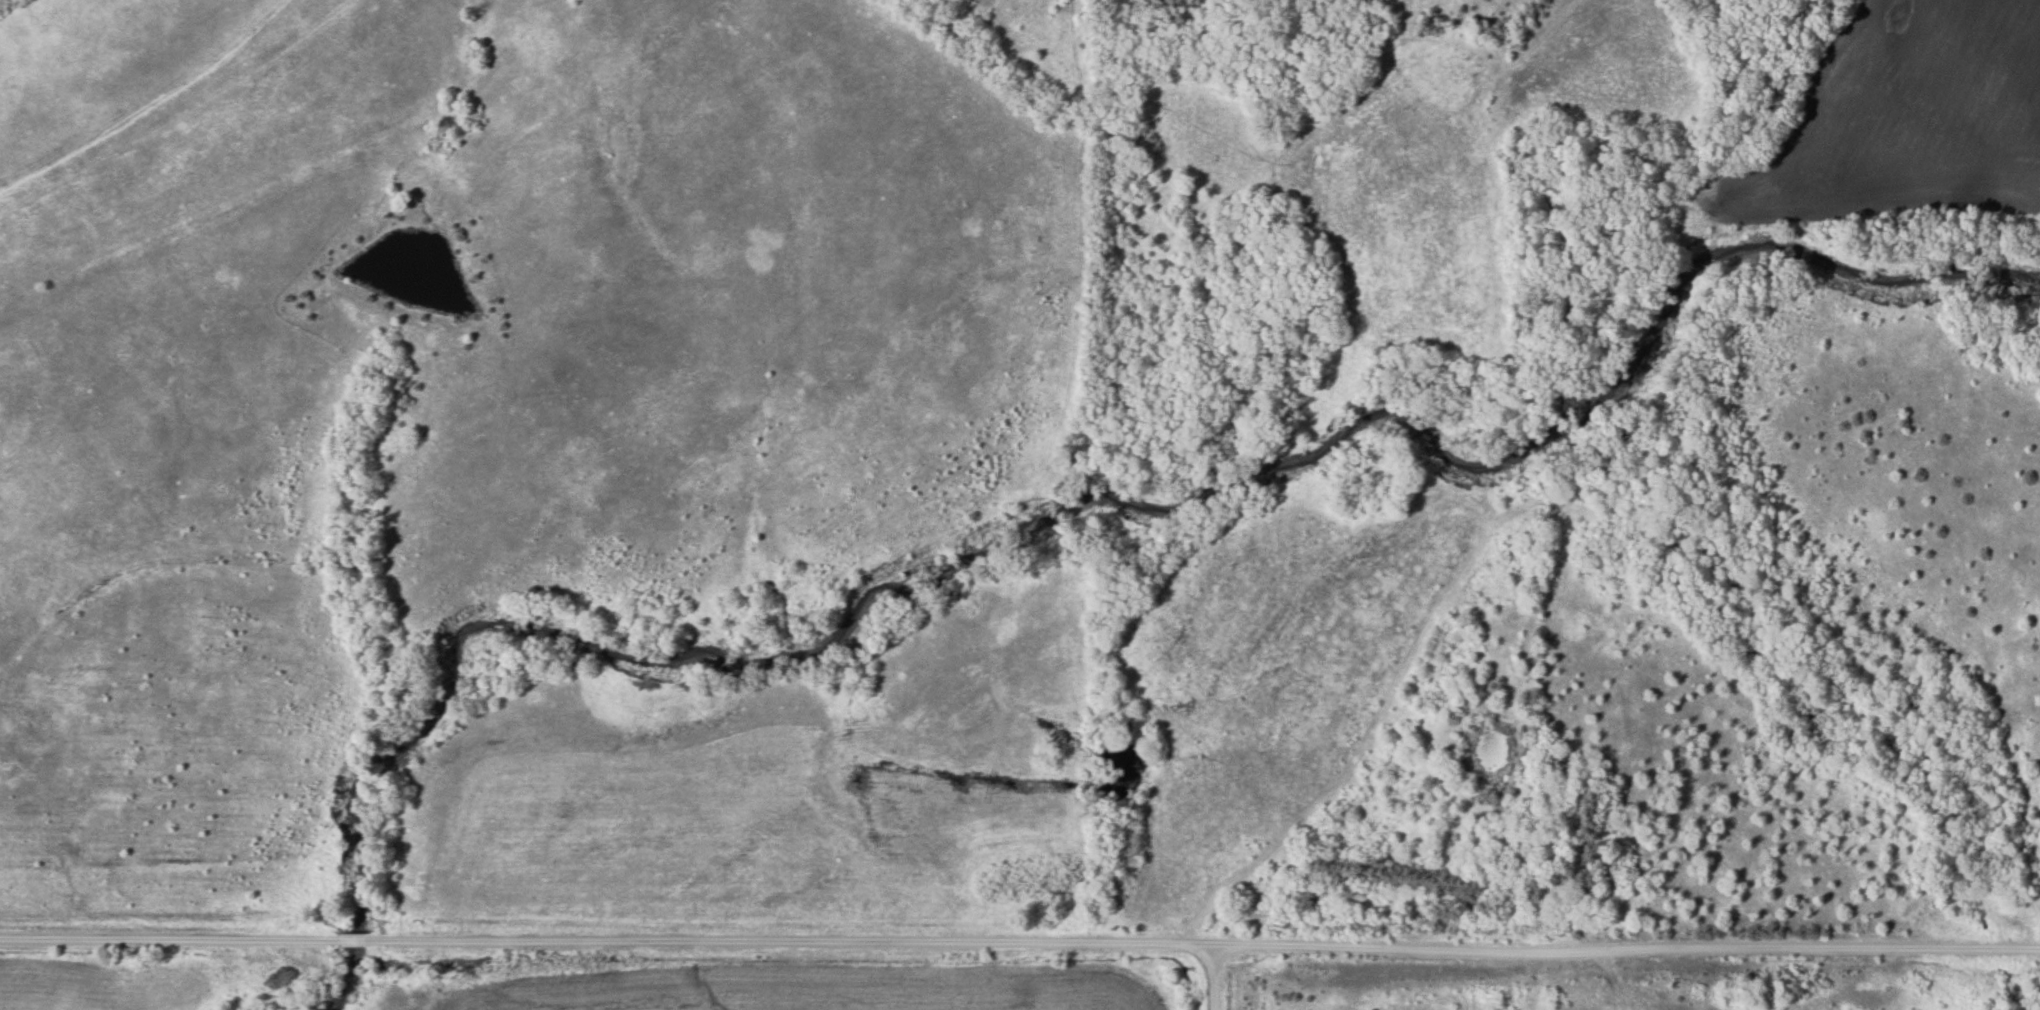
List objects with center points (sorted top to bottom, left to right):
road: (609, 941)
road: (1628, 945)
road: (1217, 978)

